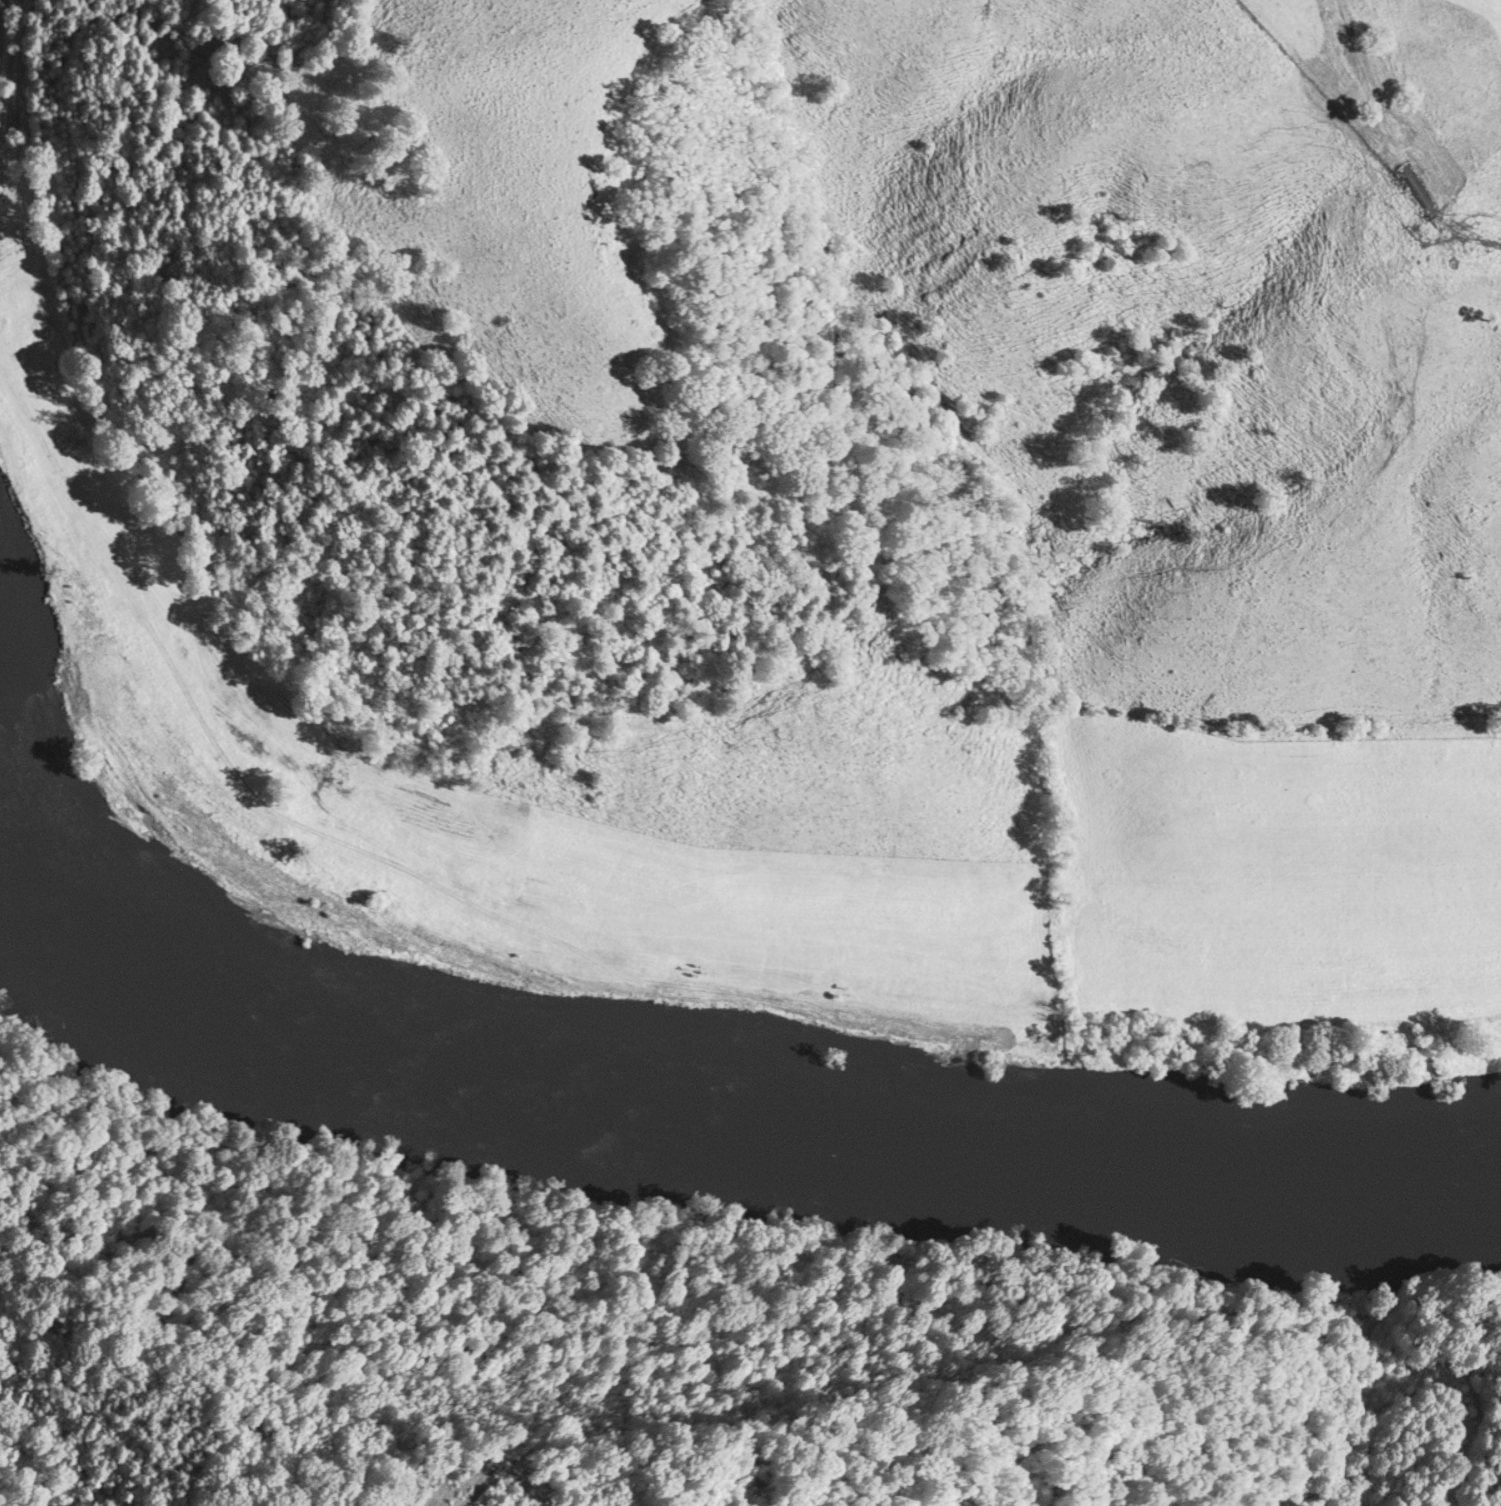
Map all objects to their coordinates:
river: (692, 1143)

